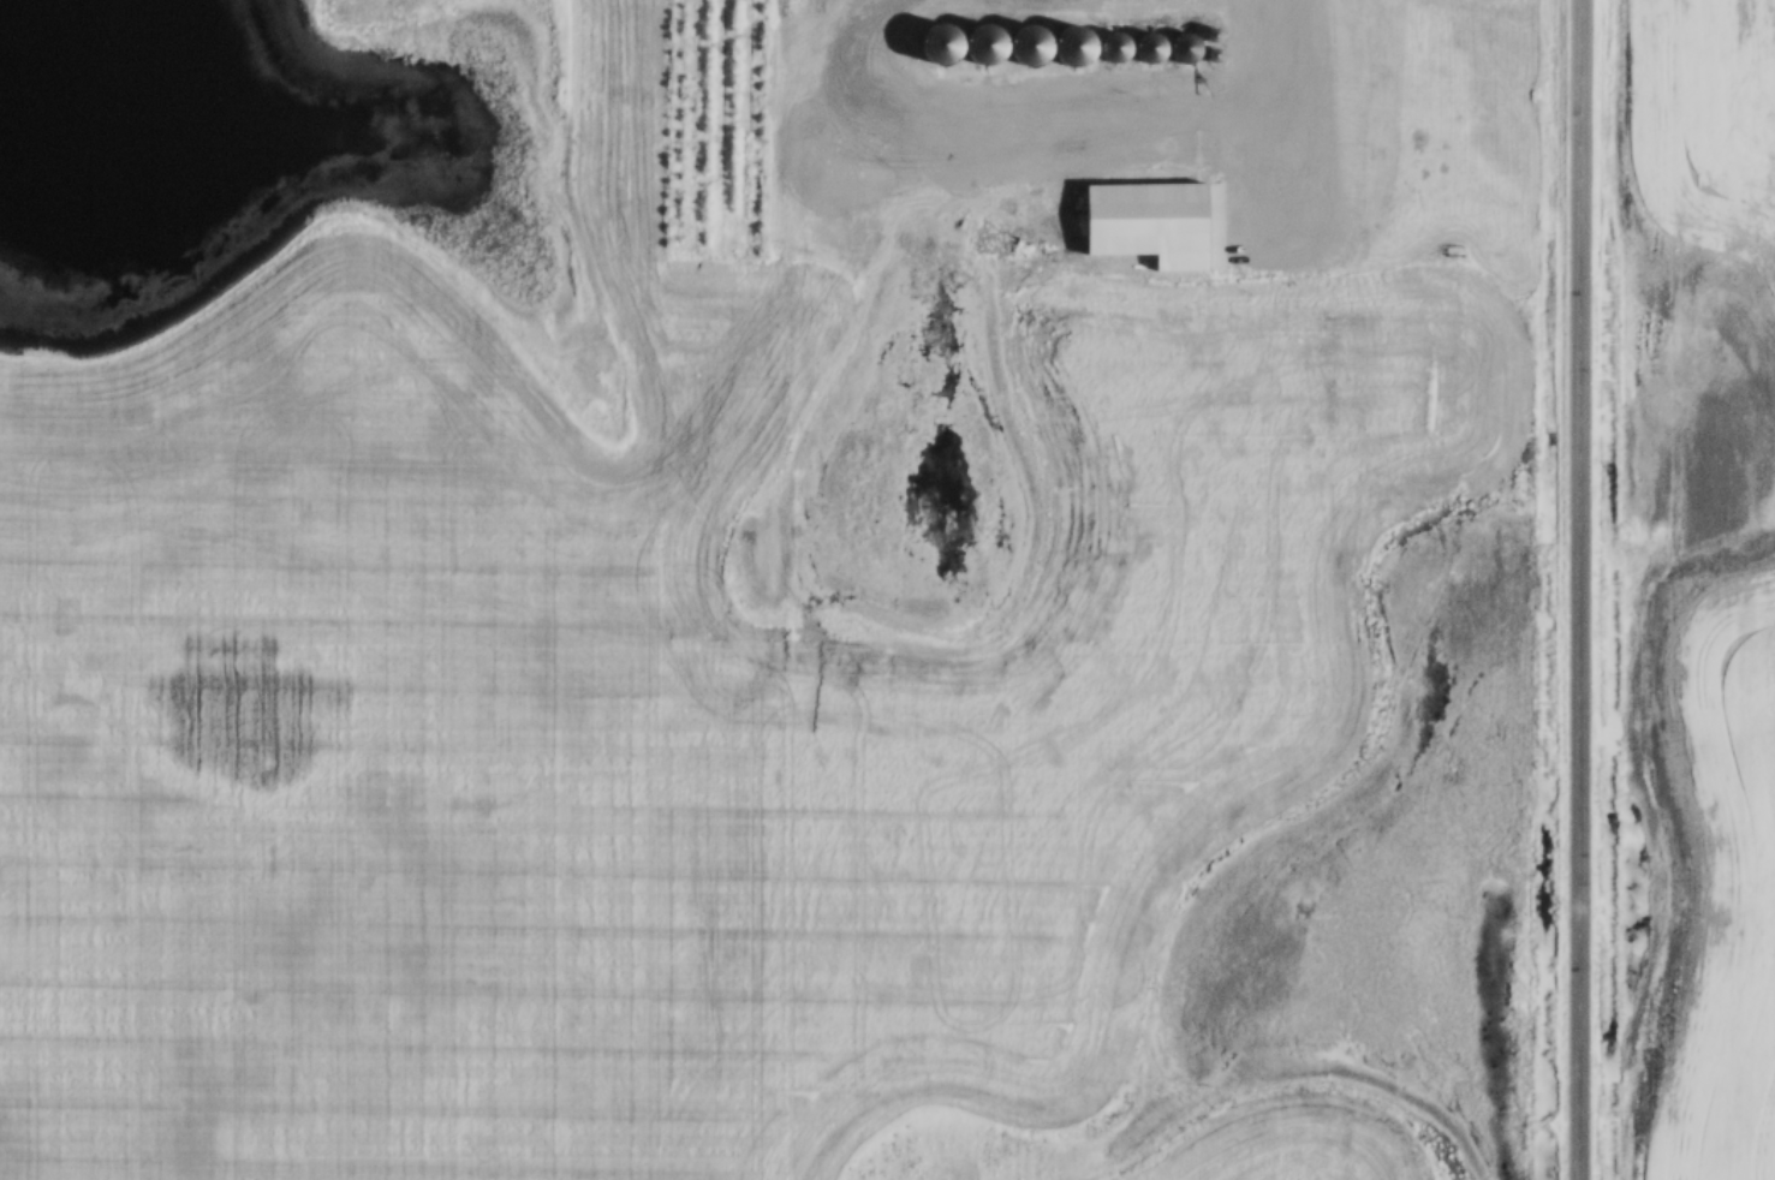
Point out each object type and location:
building: (1025, 42)
building: (966, 46)
building: (1113, 47)
building: (1151, 47)
building: (1172, 195)
building: (1095, 244)
road: (1584, 589)

